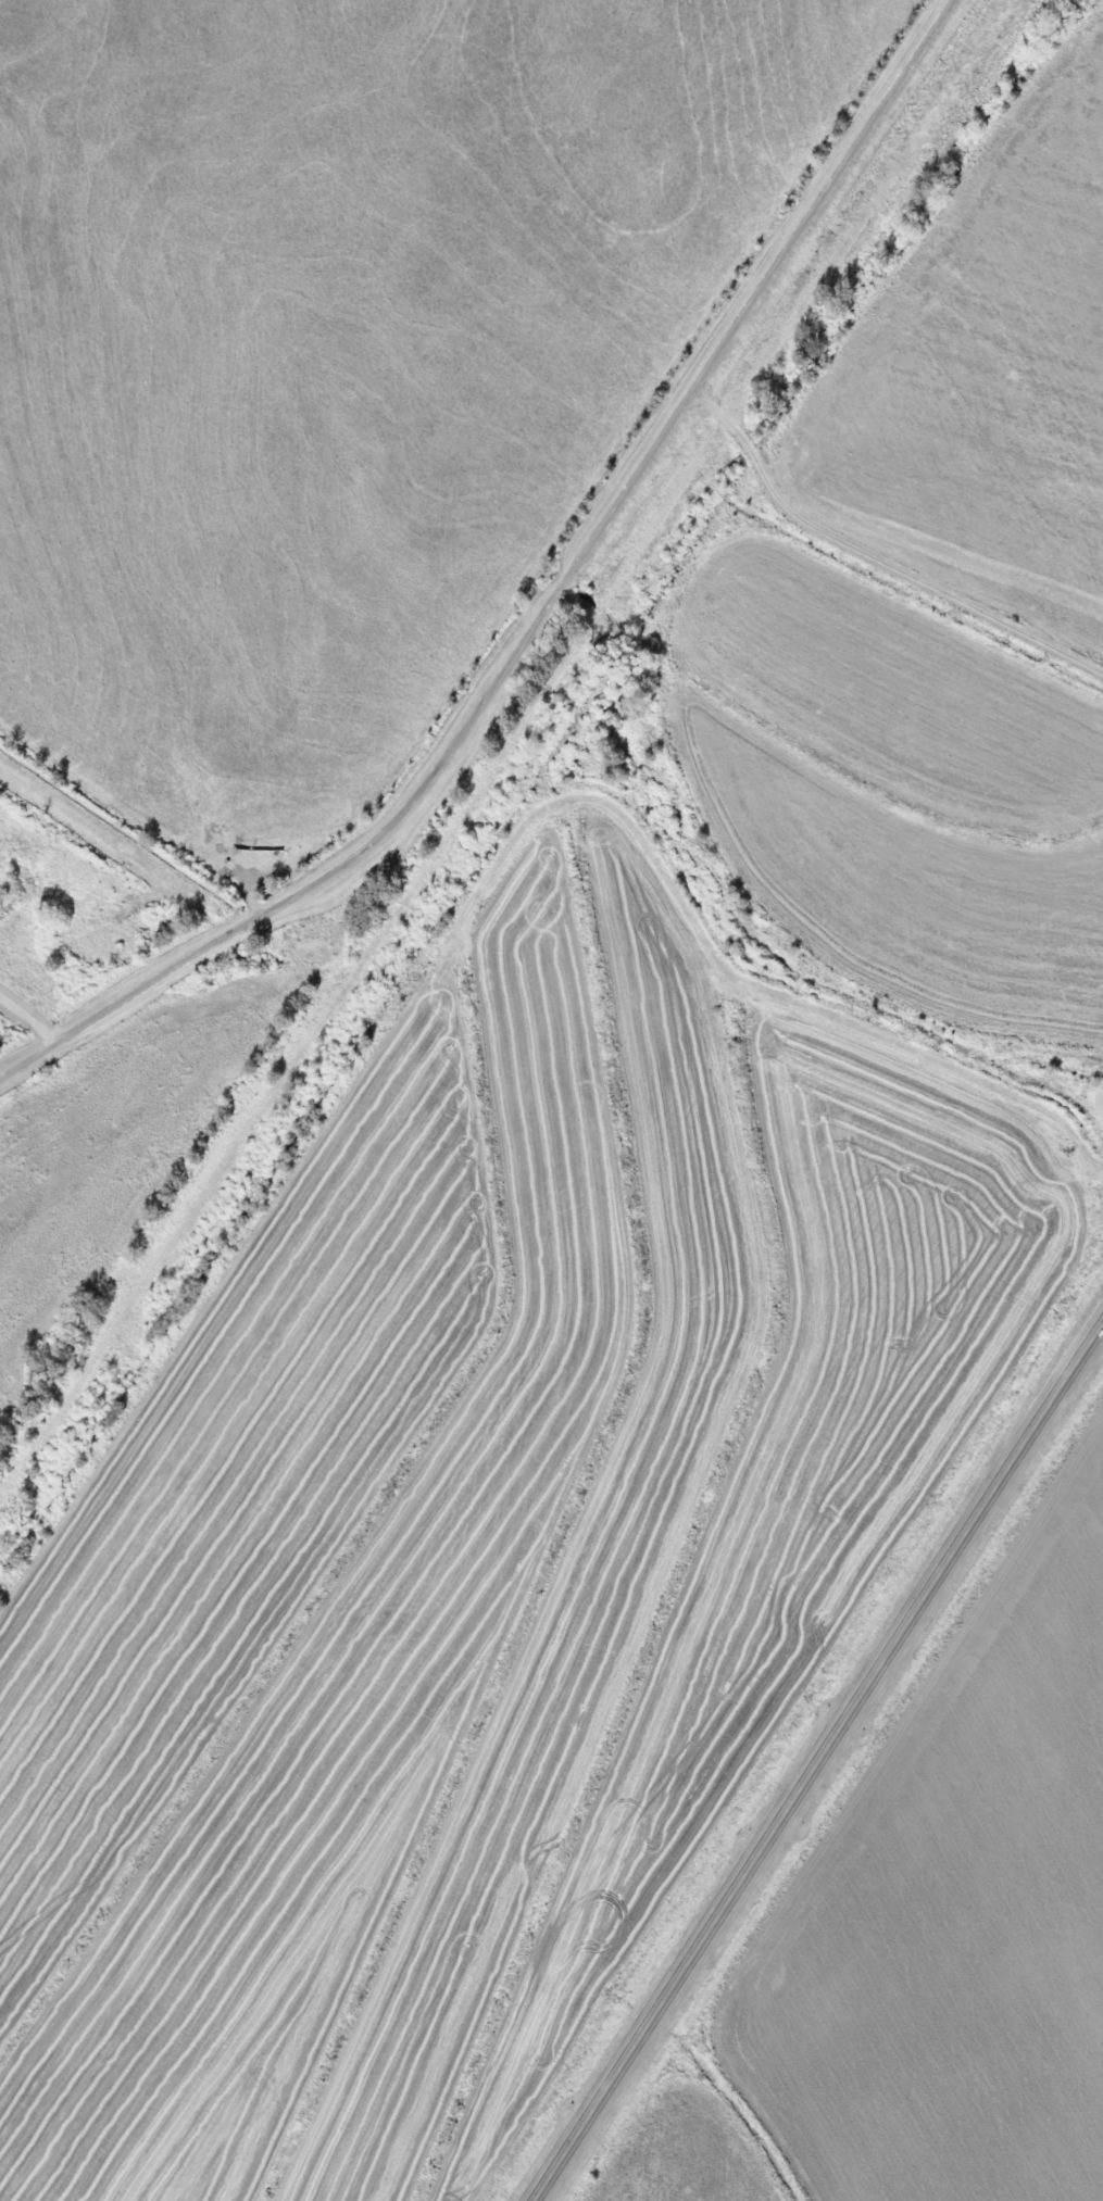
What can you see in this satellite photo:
road: (757, 290)
road: (324, 873)
road: (29, 1017)
road: (1041, 1417)
road: (754, 1854)

